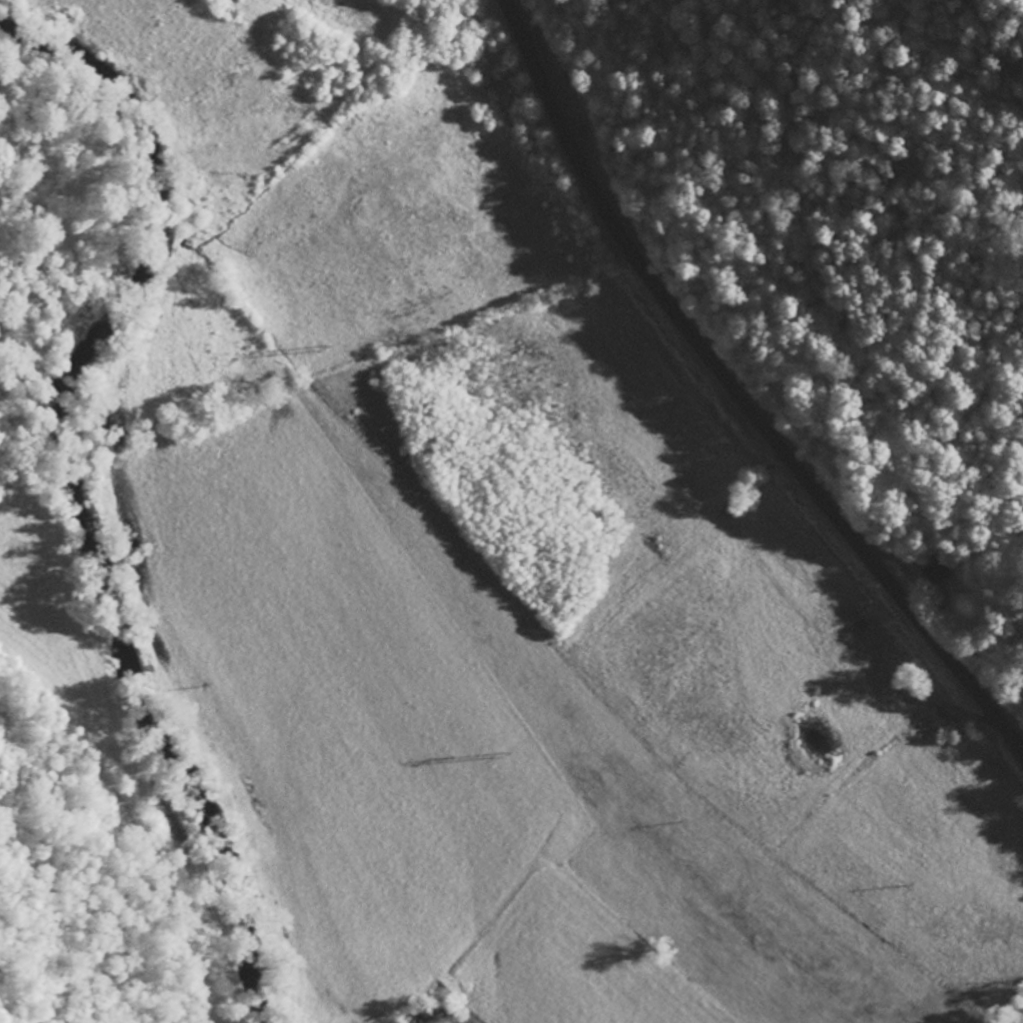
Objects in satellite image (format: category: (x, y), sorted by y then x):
power tower: (325, 347)
road: (736, 393)
power tower: (509, 755)
road: (93, 857)

